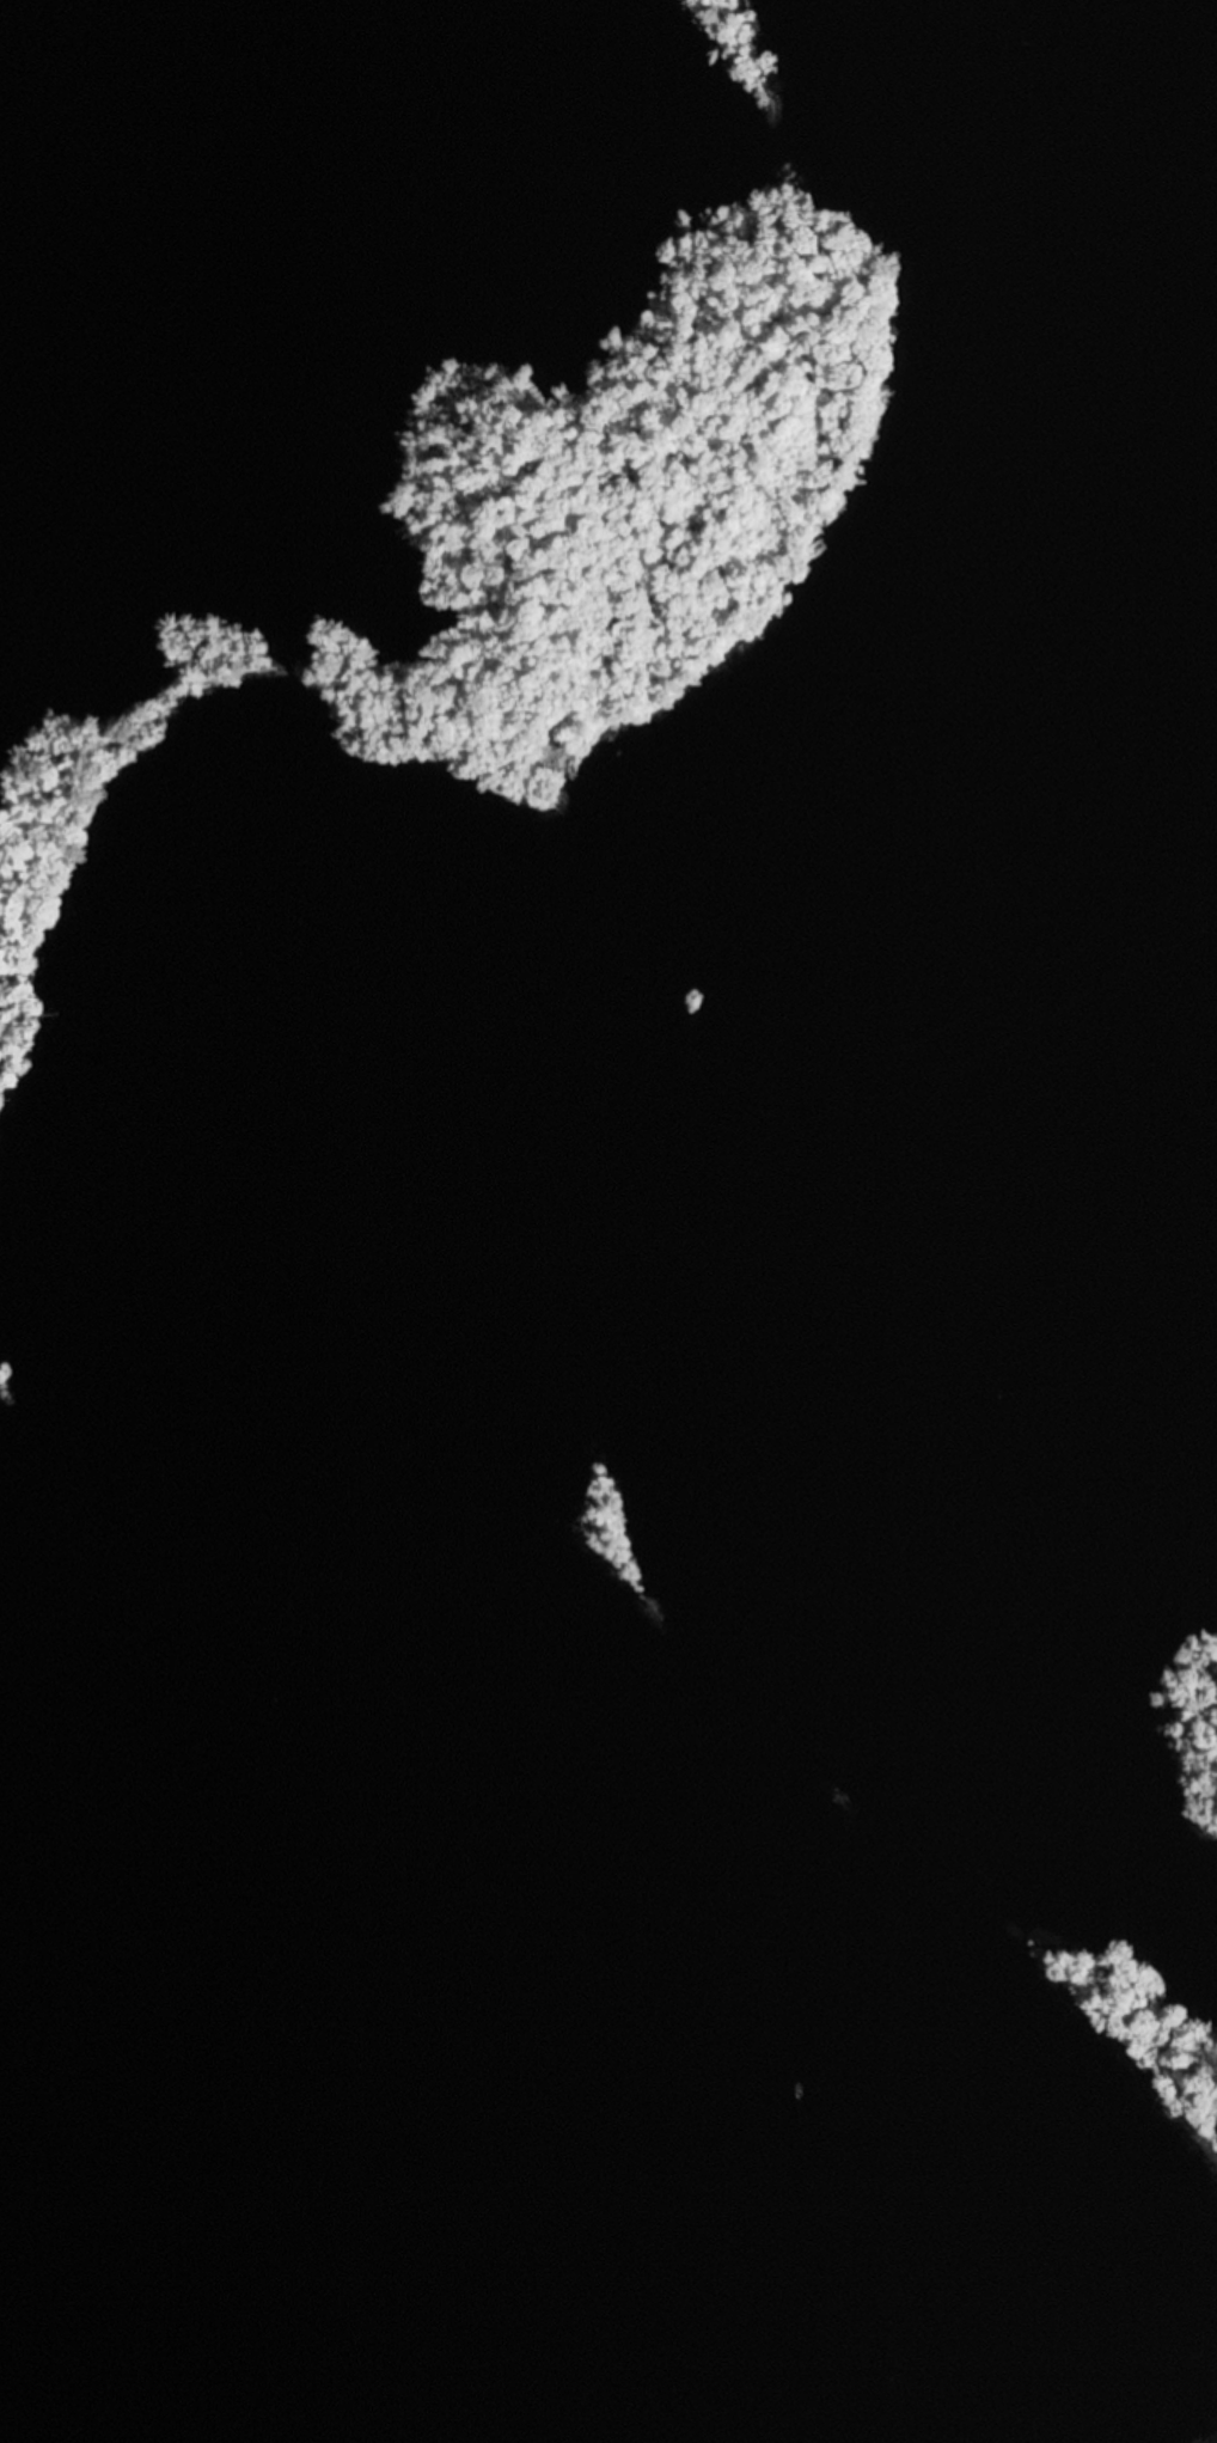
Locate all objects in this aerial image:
river: (605, 1063)

